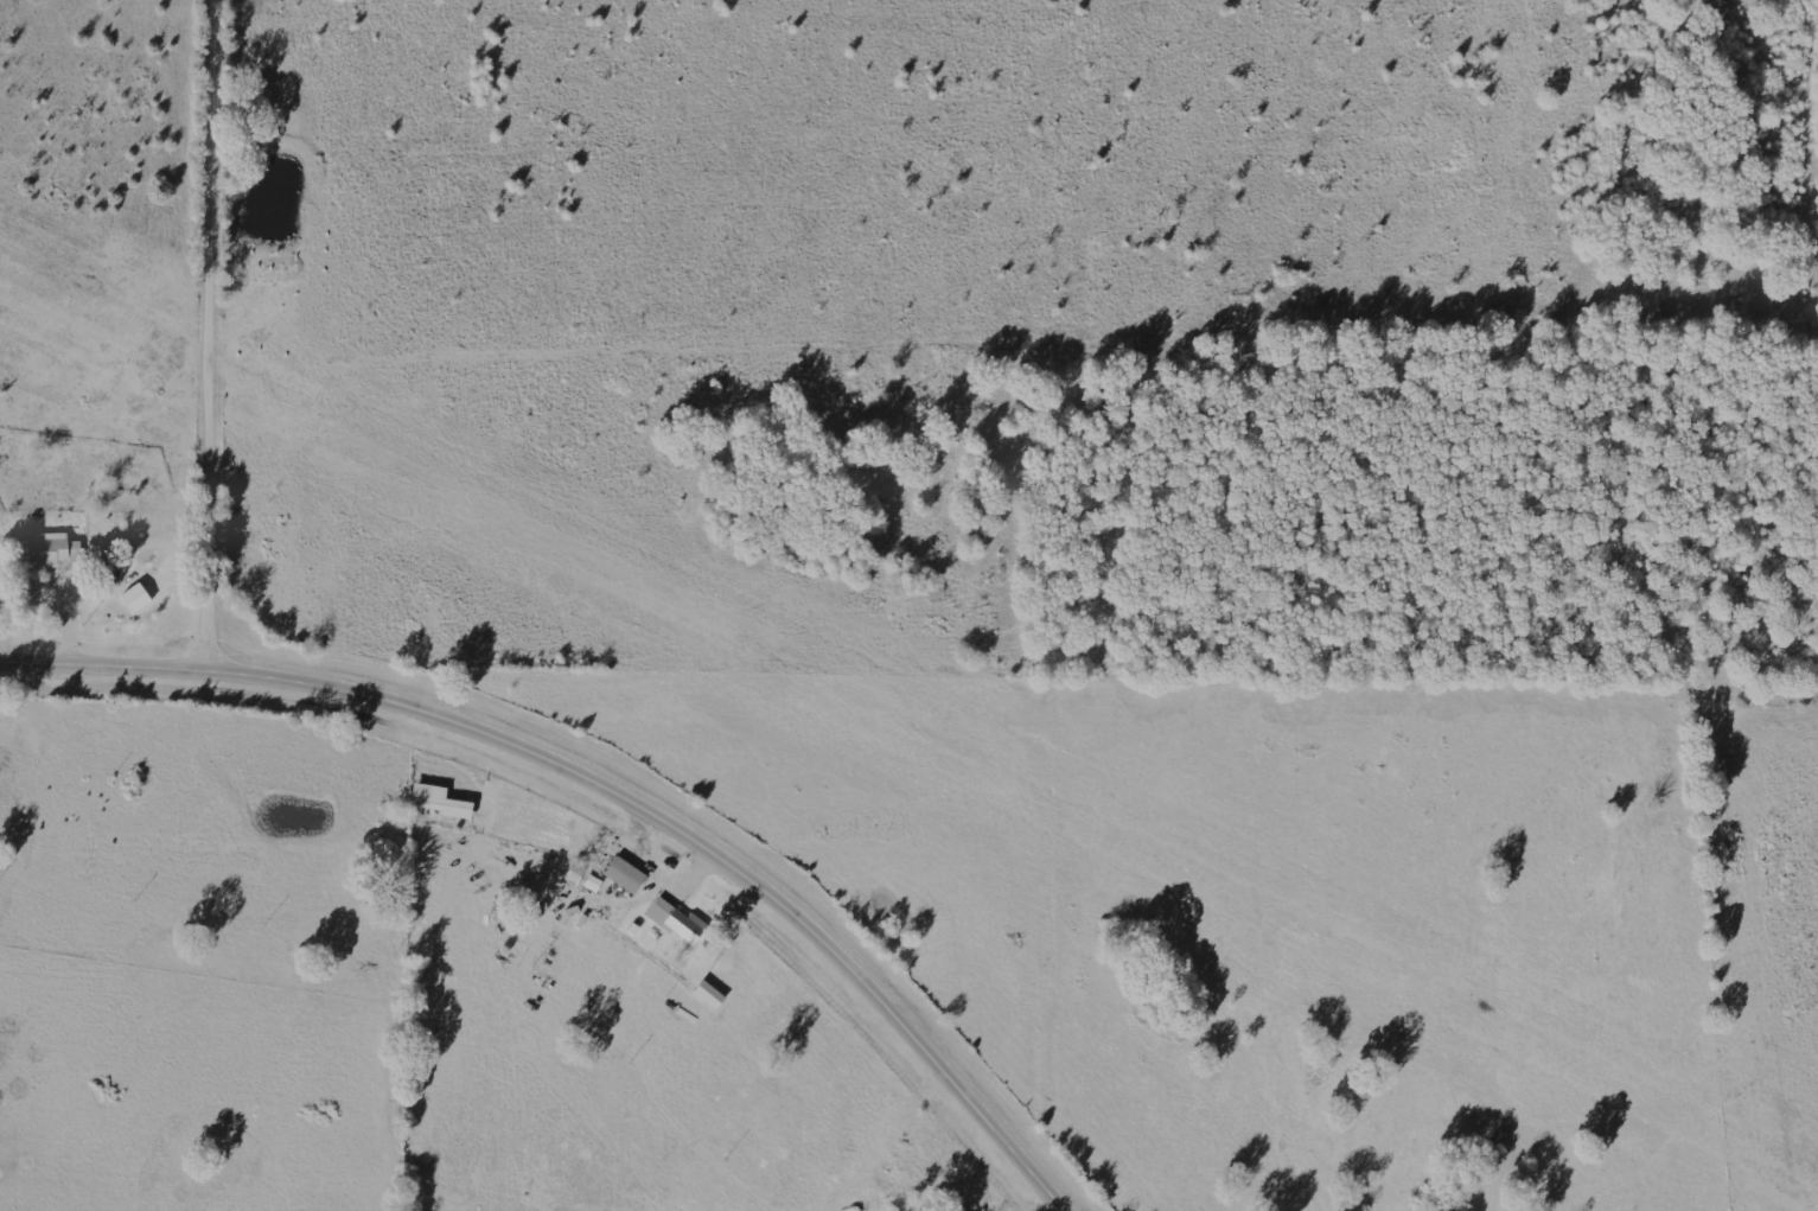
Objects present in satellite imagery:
road: (218, 336)
road: (1023, 372)
building: (56, 548)
road: (600, 791)
building: (444, 801)
building: (629, 874)
building: (594, 884)
building: (680, 922)
building: (713, 995)

